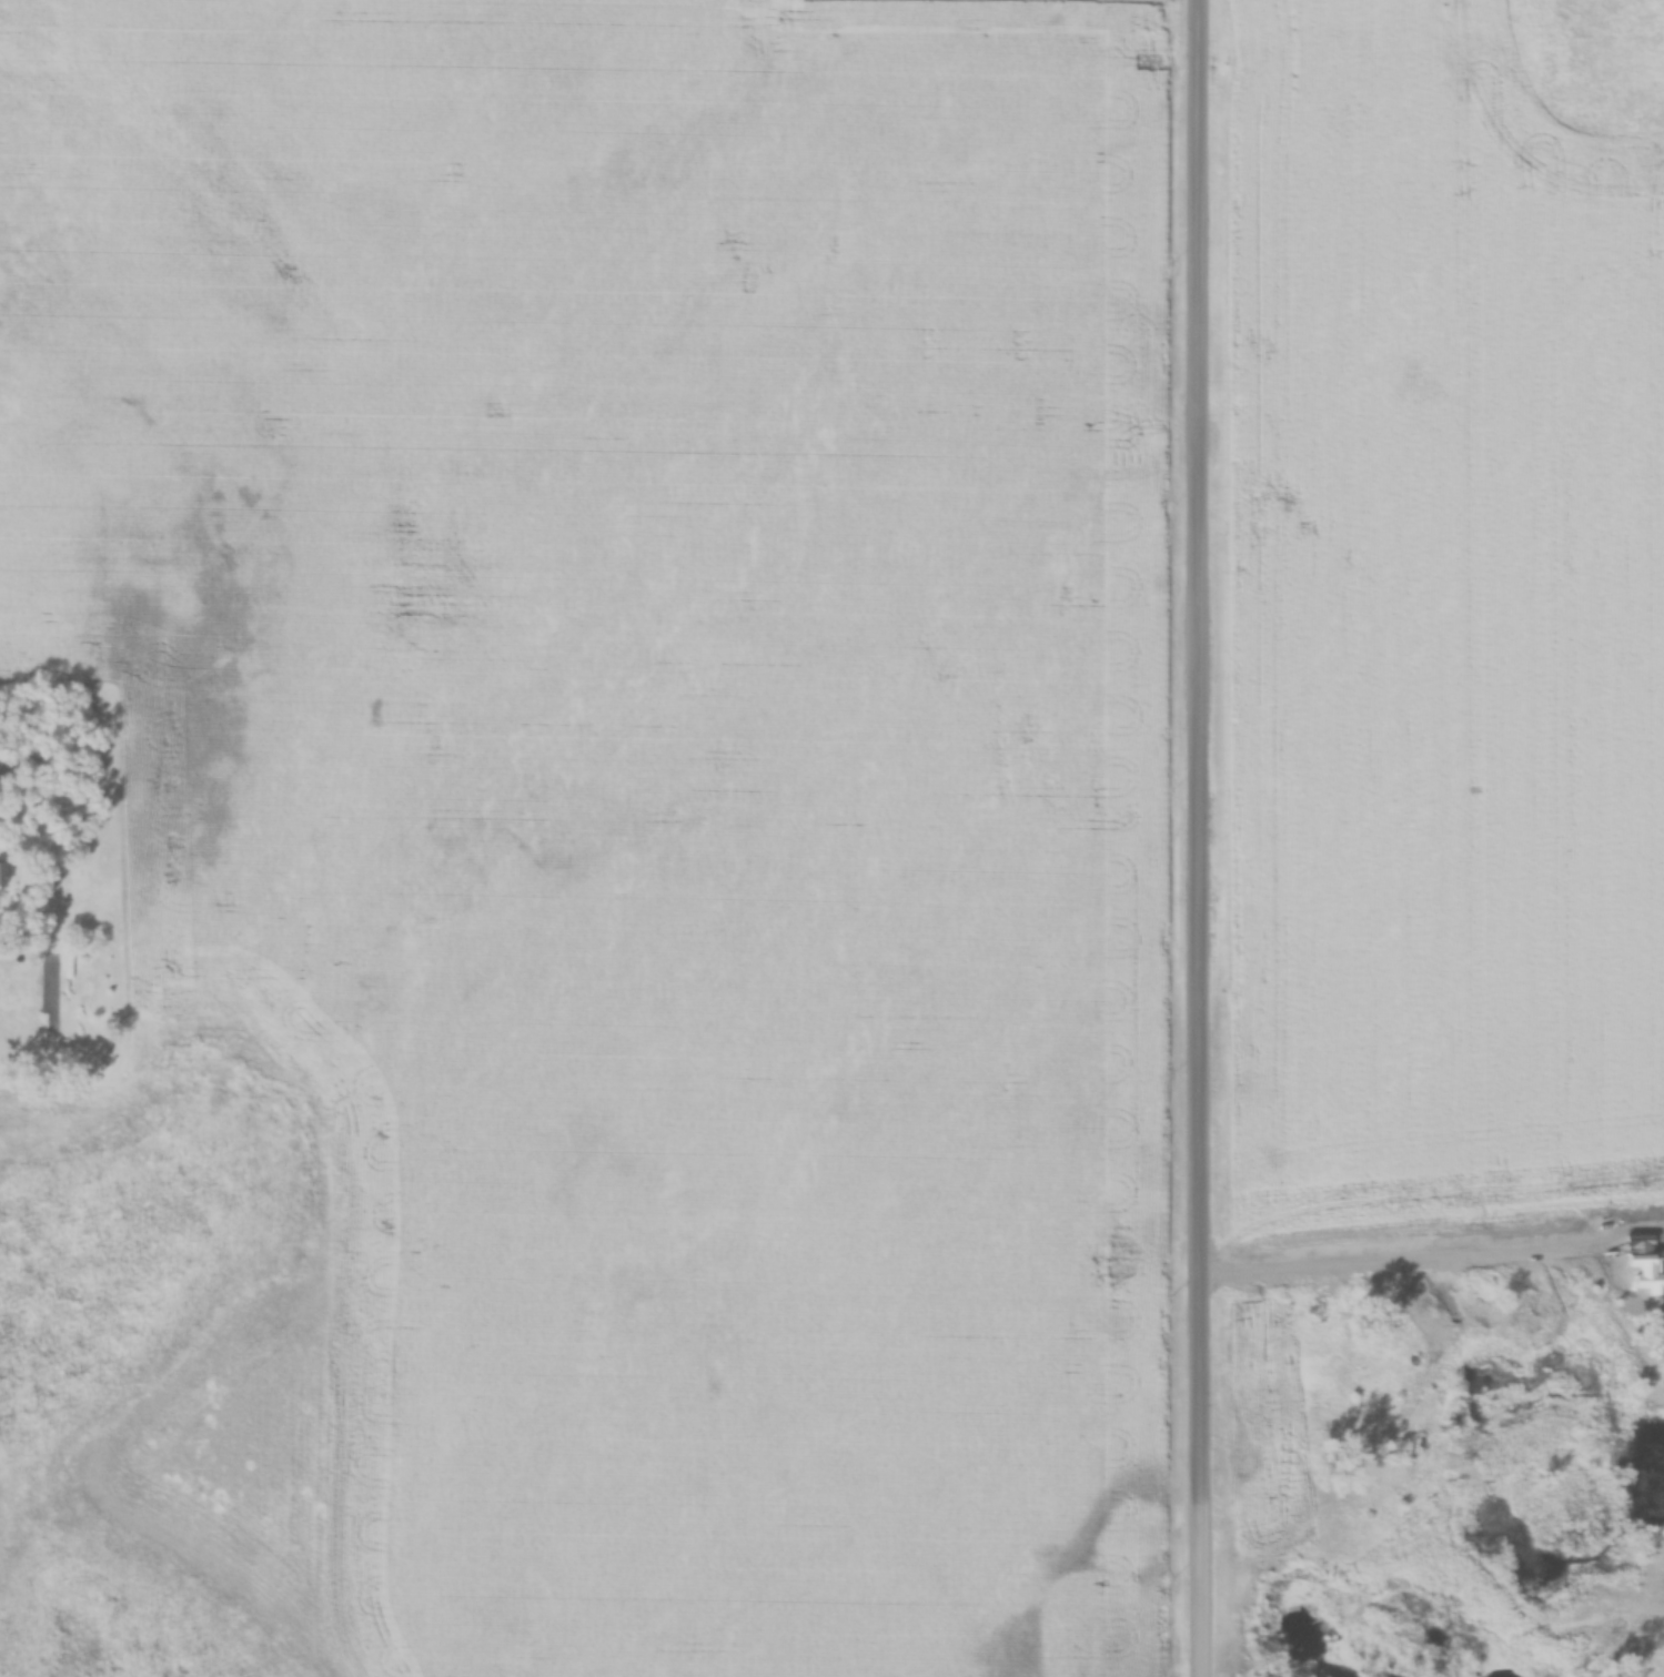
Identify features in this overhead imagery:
road: (1199, 838)
building: (1, 875)

